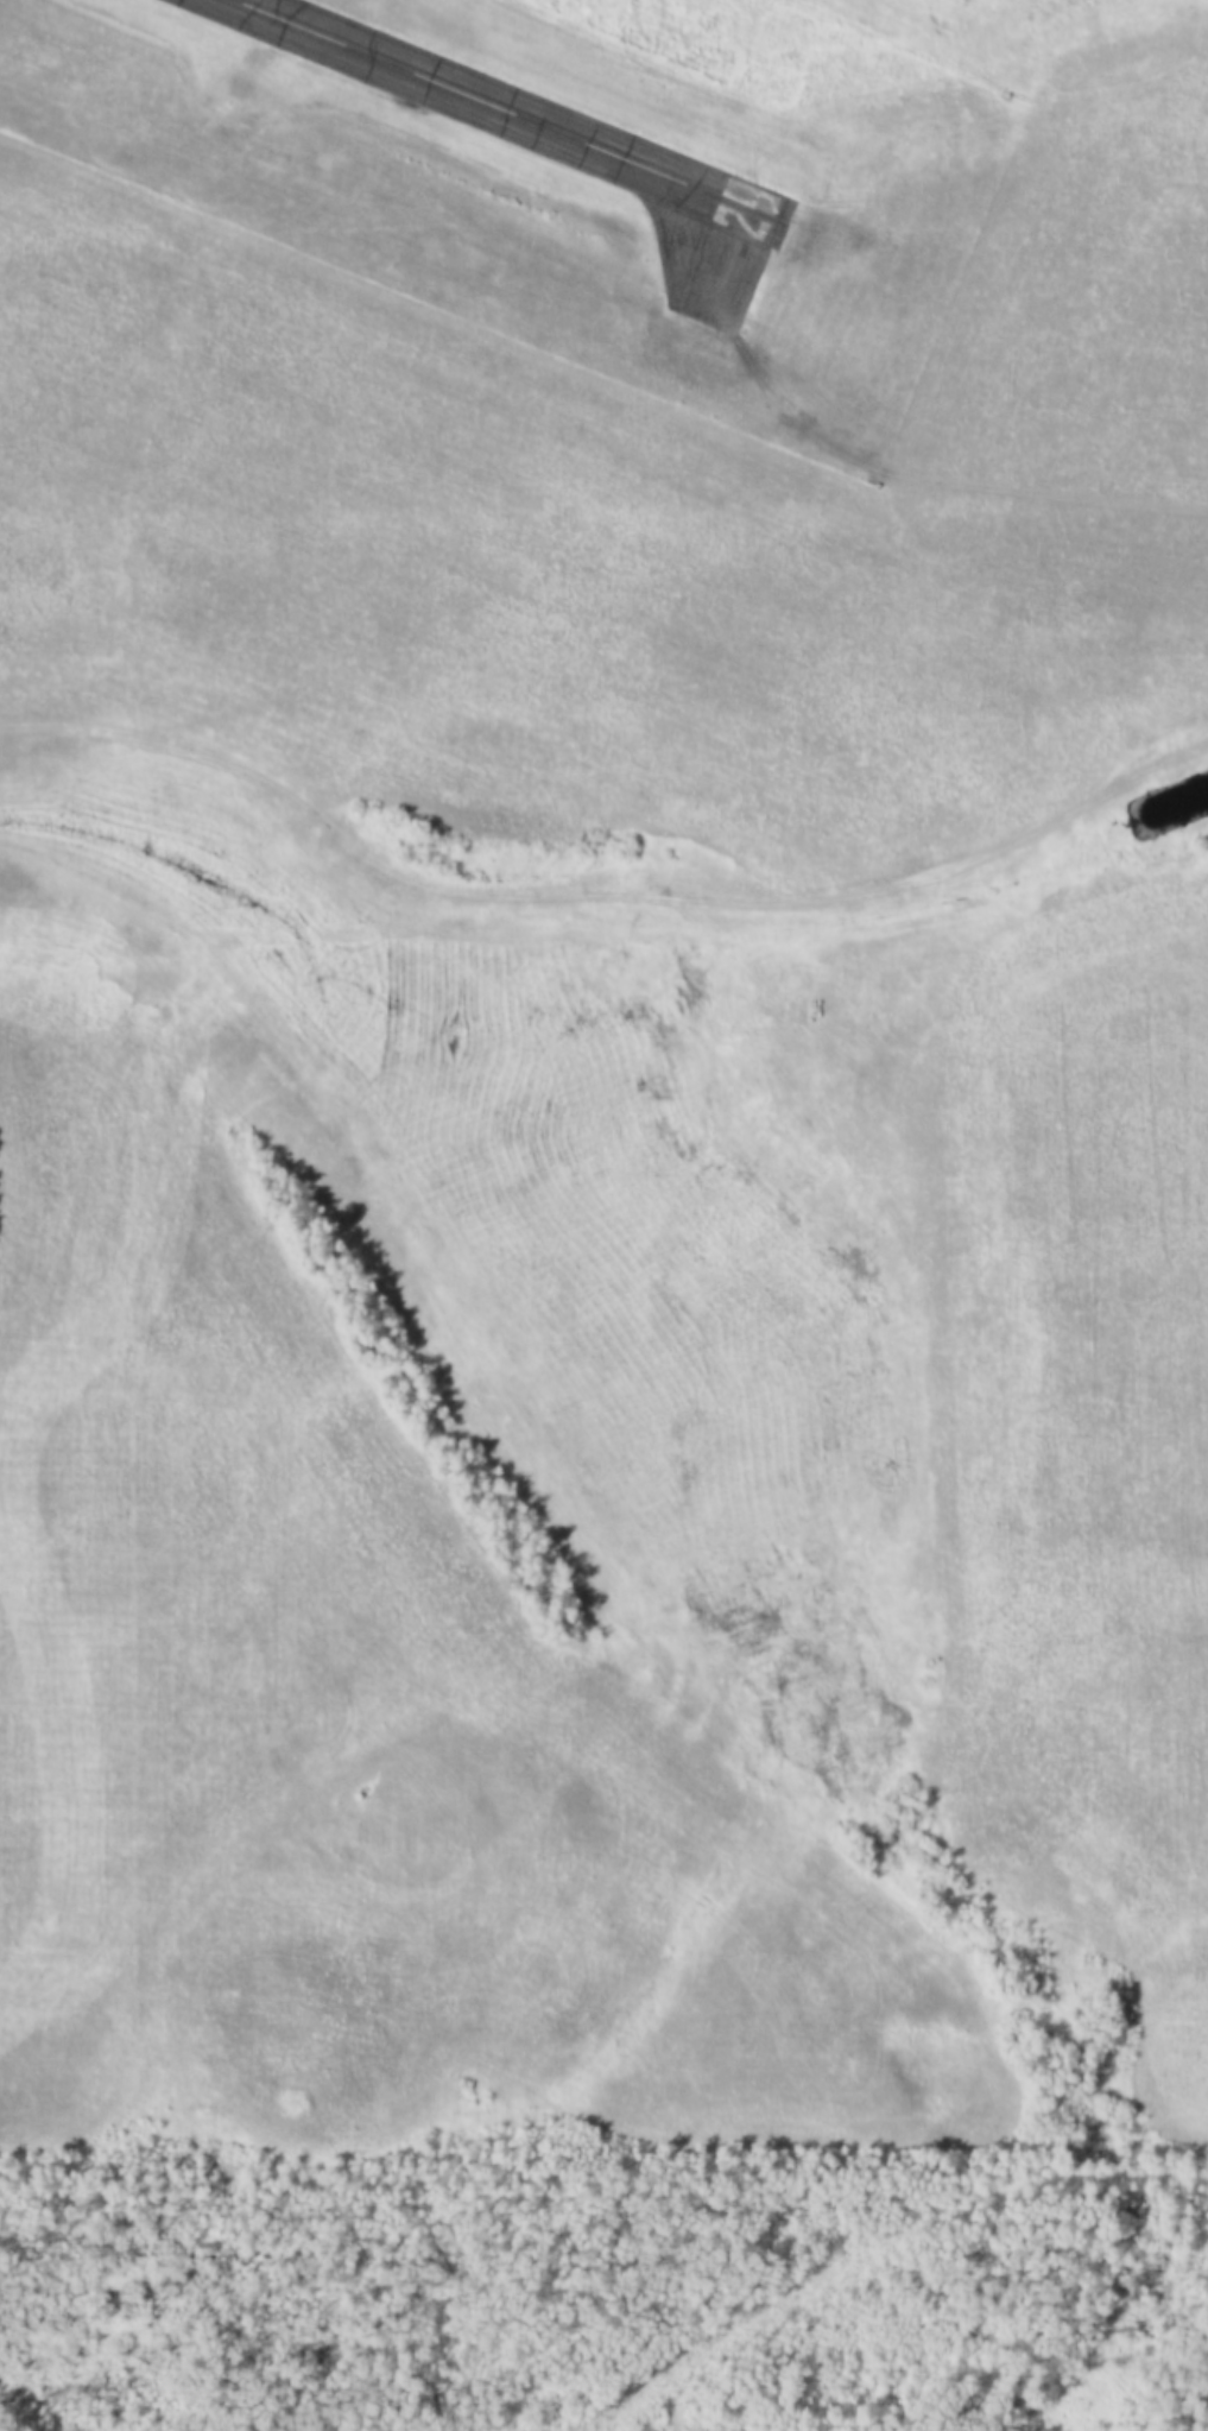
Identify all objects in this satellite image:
airport runway: (507, 113)
airport: (590, 169)

